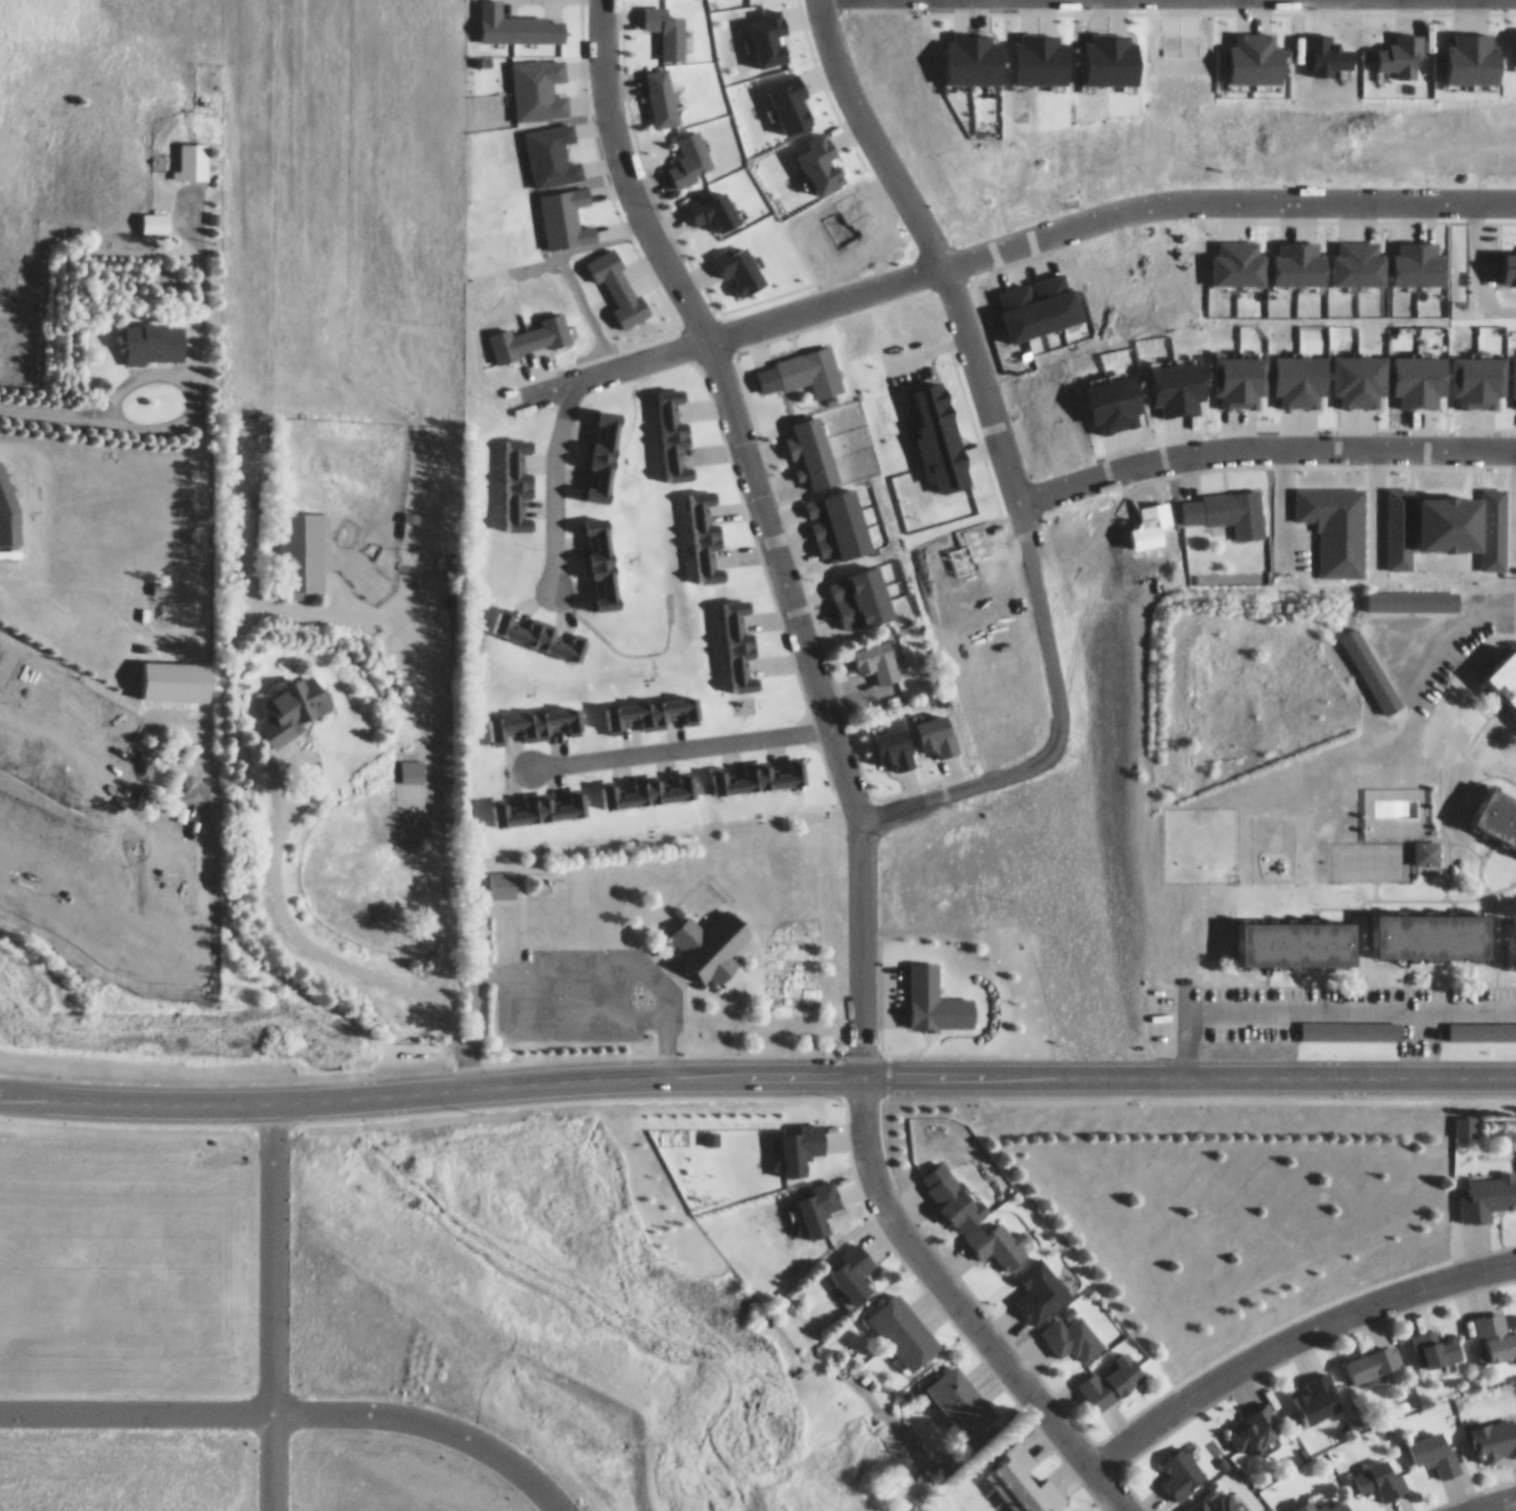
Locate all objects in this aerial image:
road: (822, 3)
building: (690, 143)
building: (192, 153)
road: (626, 172)
building: (155, 216)
road: (930, 241)
road: (1011, 243)
building: (155, 335)
building: (500, 337)
road: (198, 351)
building: (810, 363)
road: (102, 402)
building: (673, 427)
building: (601, 444)
road: (1262, 447)
road: (553, 471)
building: (516, 476)
road: (1373, 504)
building: (1235, 505)
road: (1283, 506)
building: (704, 530)
building: (302, 545)
building: (602, 556)
building: (161, 580)
building: (1411, 592)
road: (1446, 621)
building: (539, 628)
building: (738, 638)
building: (877, 654)
building: (1369, 663)
building: (1506, 669)
building: (175, 672)
road: (821, 693)
building: (294, 701)
building: (652, 705)
building: (533, 716)
road: (1056, 720)
road: (680, 738)
building: (6, 745)
road: (305, 755)
building: (411, 763)
building: (759, 770)
building: (649, 784)
building: (541, 803)
building: (1497, 809)
road: (448, 831)
building: (1427, 845)
building: (502, 876)
building: (1436, 929)
building: (1512, 934)
building: (1301, 937)
road: (313, 941)
building: (706, 942)
building: (934, 994)
road: (1313, 999)
road: (679, 1008)
building: (1350, 1023)
building: (1457, 1024)
road: (1187, 1070)
road: (430, 1097)
building: (1464, 1119)
building: (952, 1189)
building: (1488, 1189)
building: (999, 1236)
building: (853, 1262)
road: (965, 1304)
road: (271, 1308)
building: (904, 1322)
building: (1496, 1326)
road: (1290, 1327)
building: (1072, 1328)
building: (1435, 1339)
building: (1373, 1354)
building: (1113, 1372)
building: (1318, 1389)
building: (961, 1392)
road: (135, 1408)
building: (1254, 1421)
building: (1494, 1430)
building: (1433, 1443)
building: (1181, 1465)
building: (1380, 1471)
building: (1023, 1477)
road: (1481, 1498)
building: (1218, 1499)
building: (1325, 1501)

